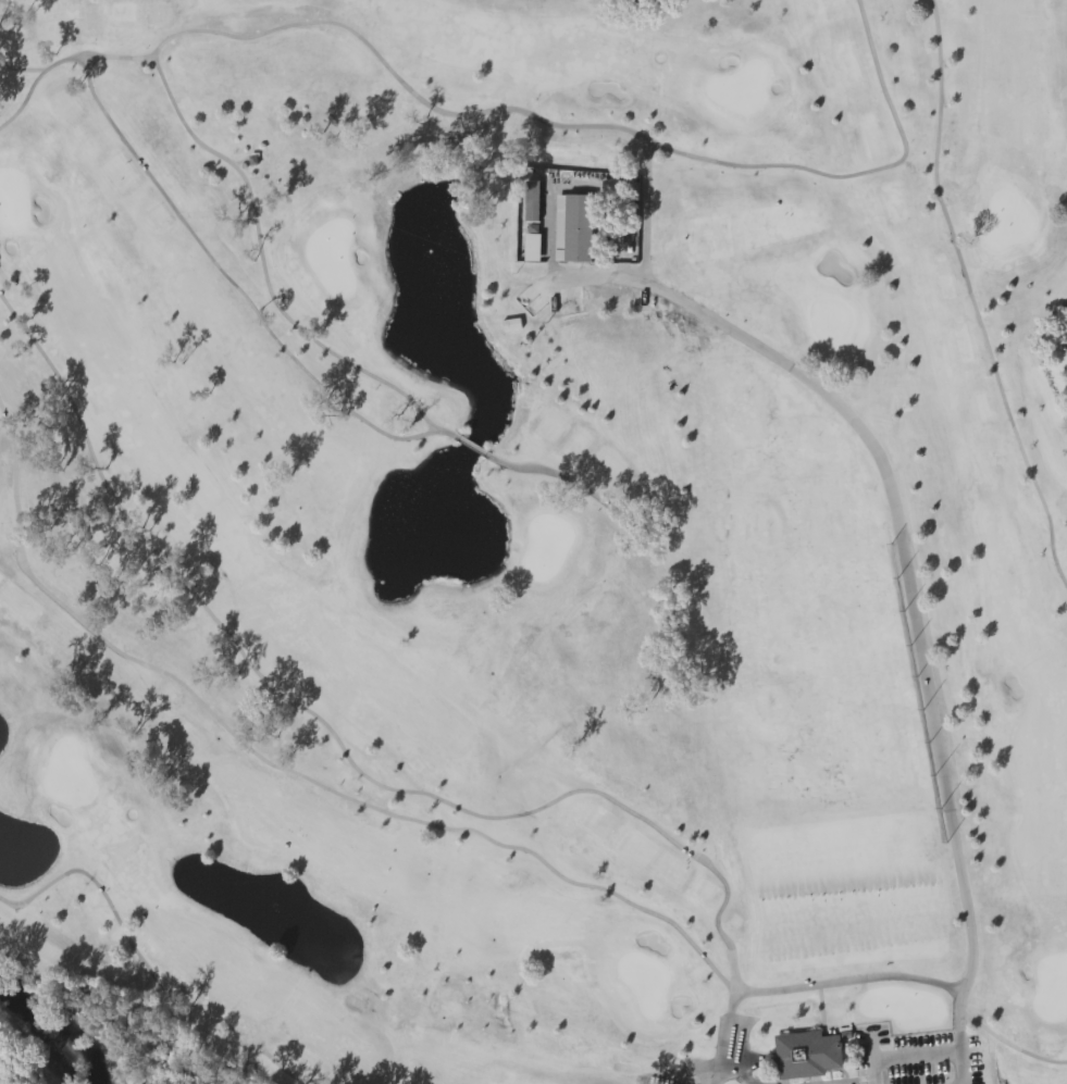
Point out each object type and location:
building: (532, 201)
building: (573, 228)
building: (533, 247)
building: (511, 324)
park: (534, 539)
road: (915, 619)
building: (807, 1052)
road: (960, 1069)

